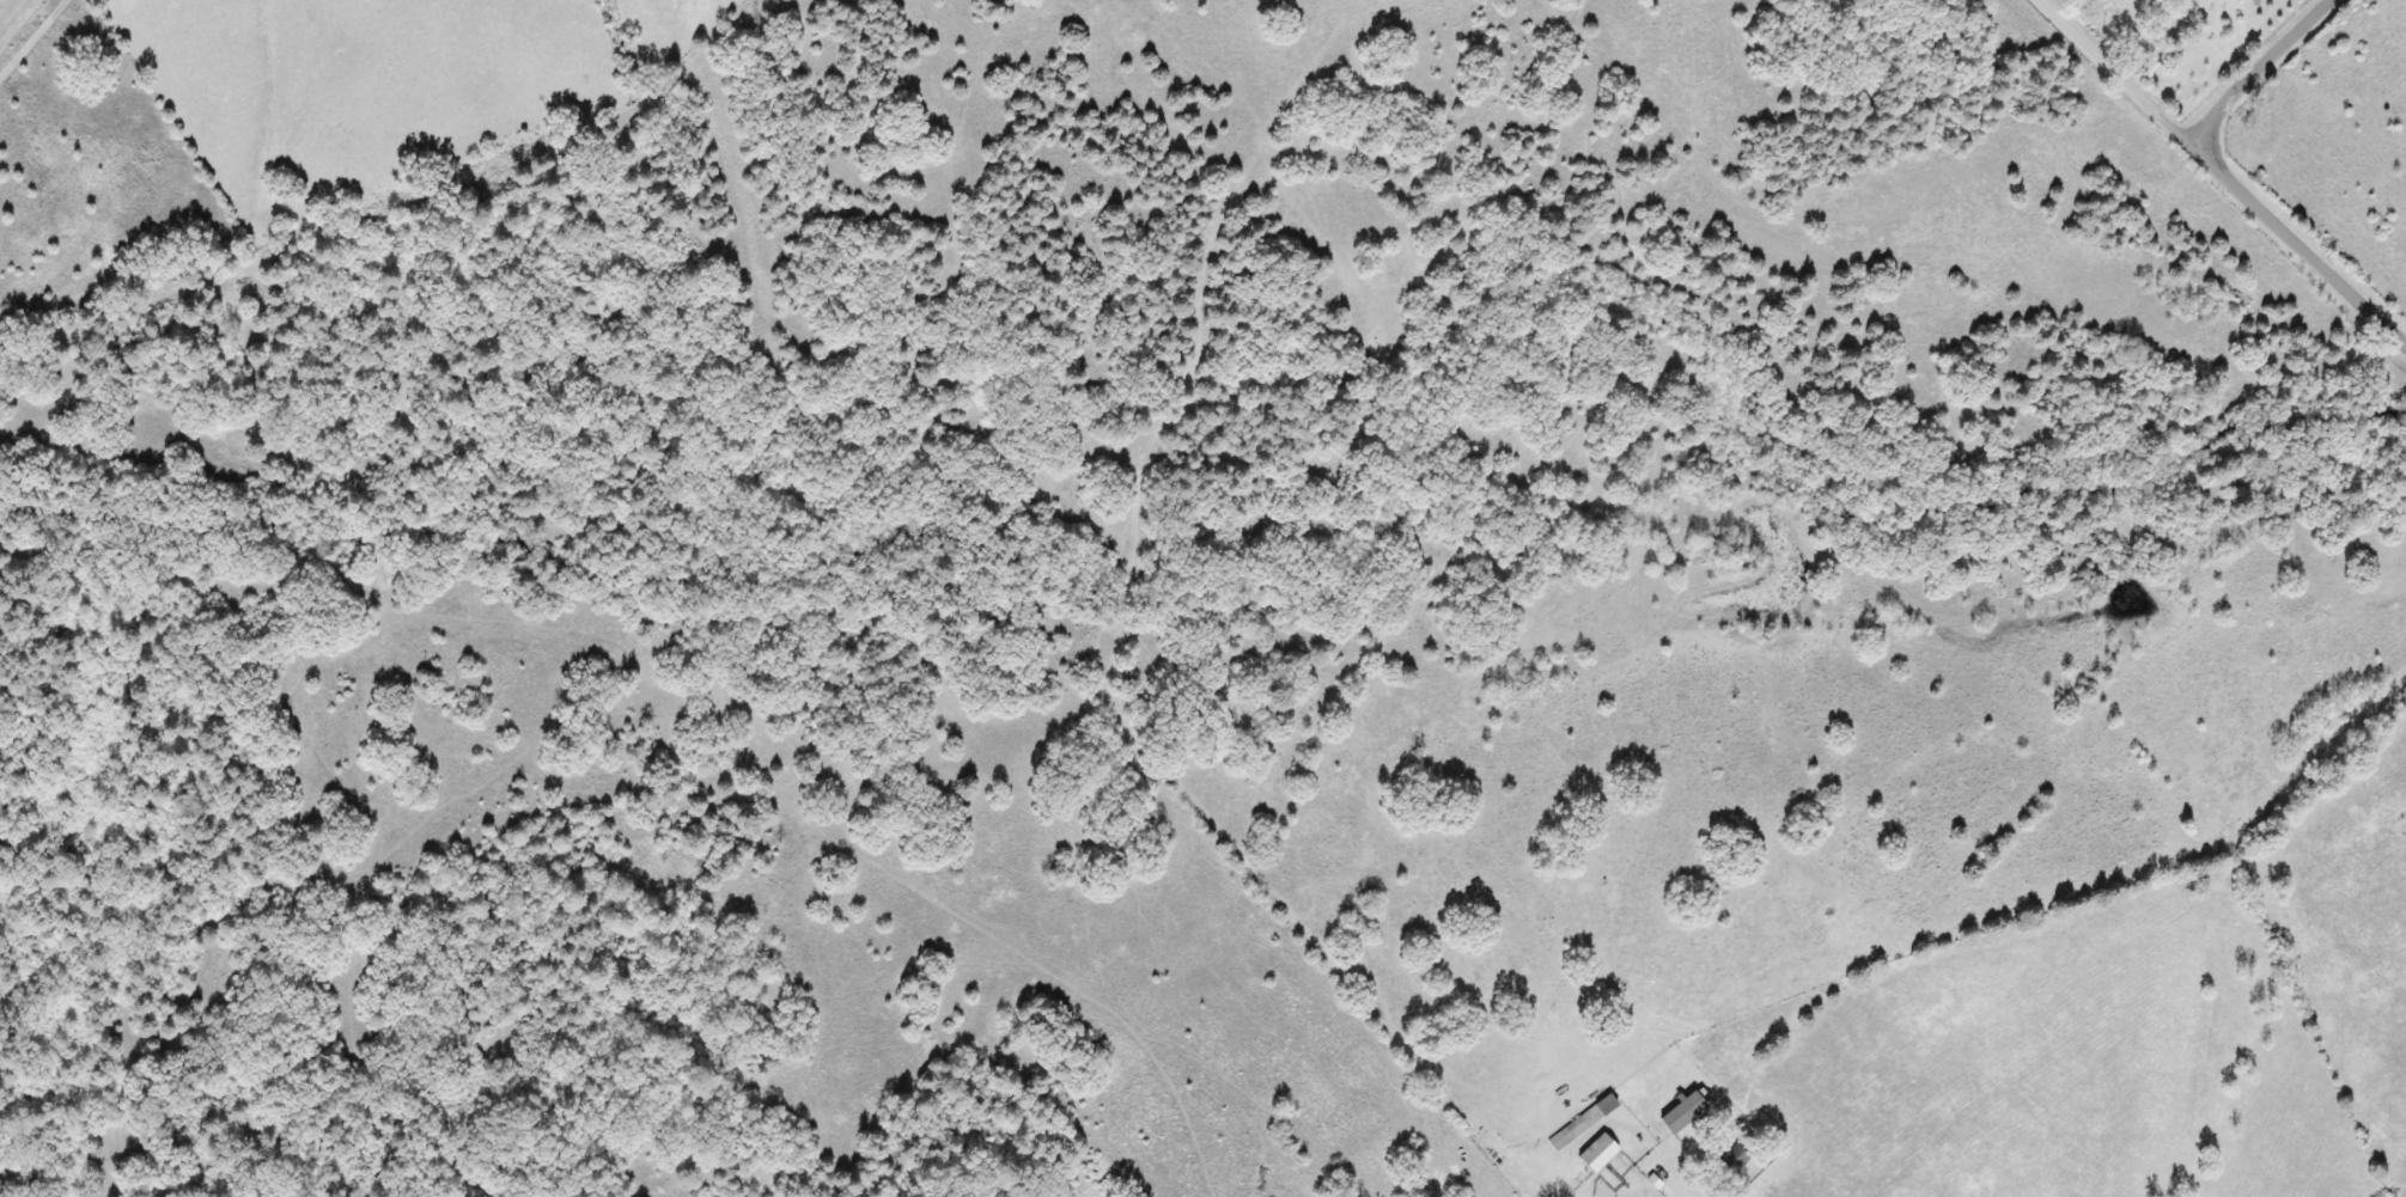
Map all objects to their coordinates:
road: (41, 25)
road: (2259, 69)
road: (2114, 71)
road: (2297, 238)
building: (1580, 1122)
building: (1595, 1153)
building: (1731, 1161)
road: (1624, 1192)

